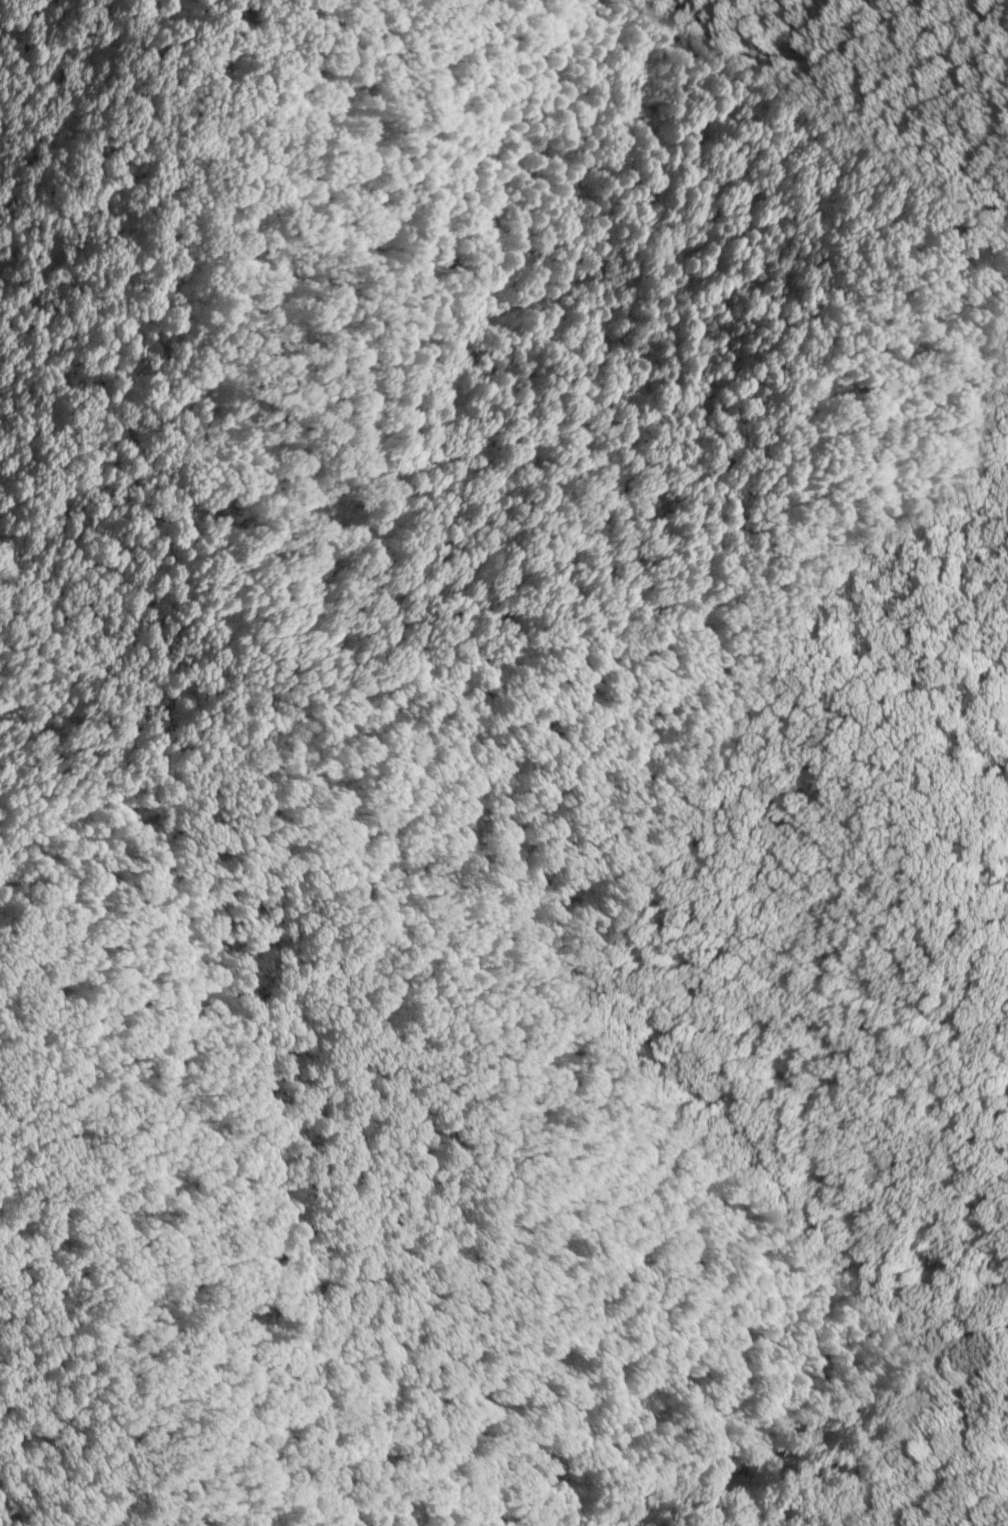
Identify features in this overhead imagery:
road: (935, 1489)

